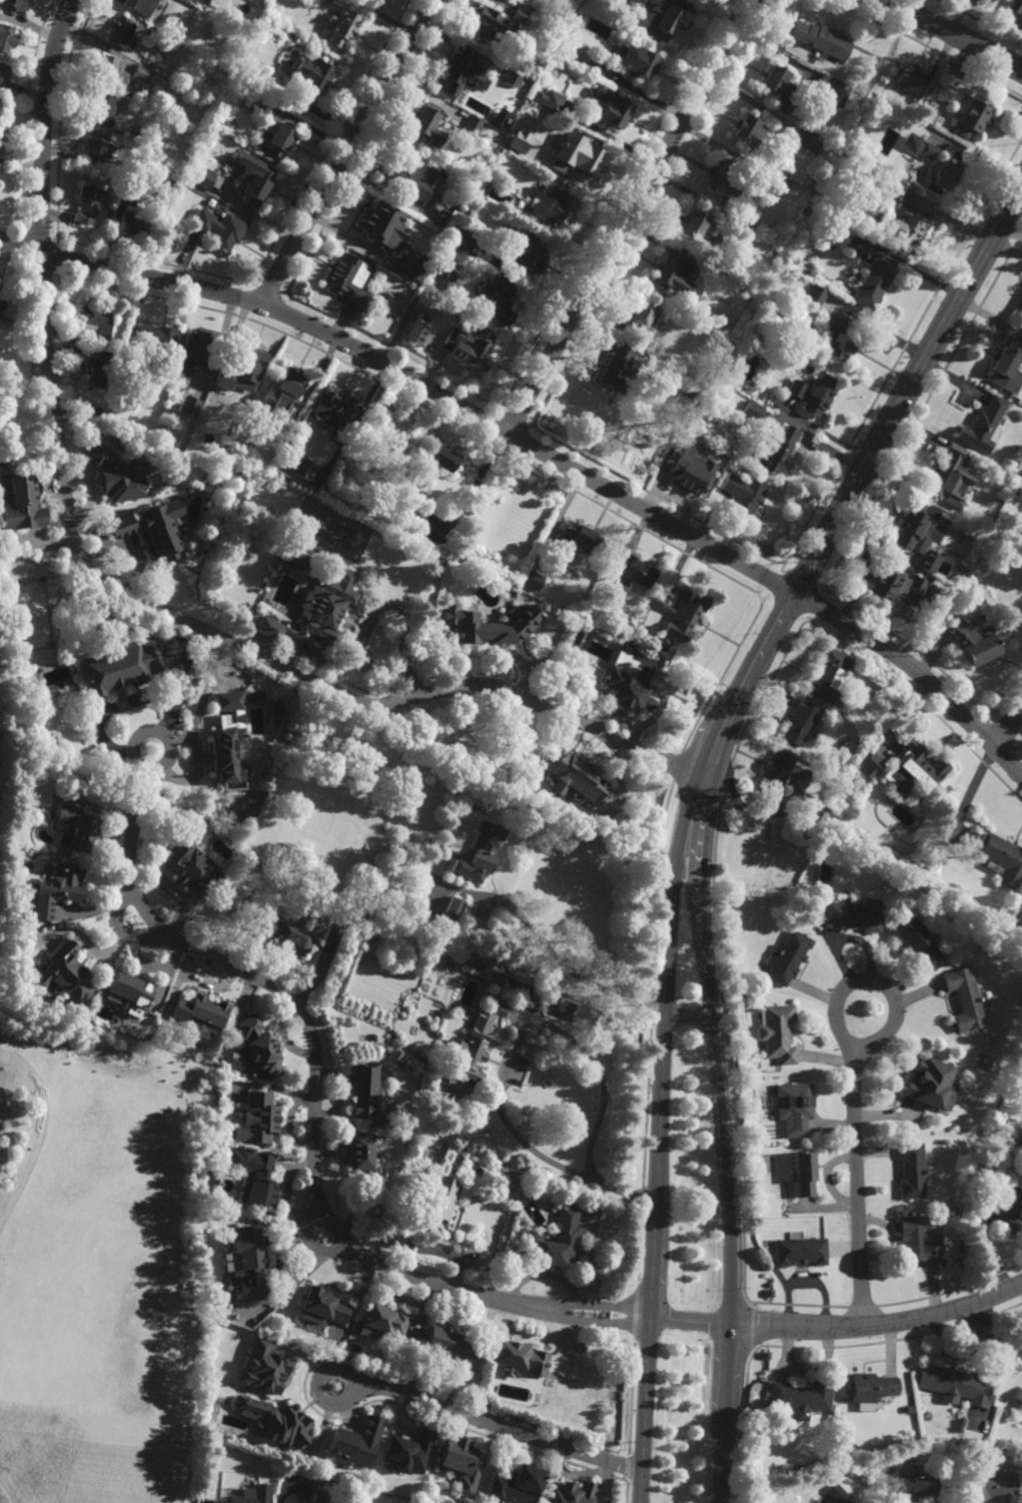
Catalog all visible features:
building: (16, 4)
building: (140, 5)
building: (1016, 6)
building: (521, 14)
building: (657, 20)
road: (979, 21)
building: (491, 22)
building: (342, 25)
building: (120, 30)
road: (952, 33)
building: (232, 34)
building: (5, 37)
building: (821, 38)
road: (923, 47)
building: (635, 59)
building: (145, 60)
building: (593, 62)
building: (110, 71)
building: (3, 72)
building: (140, 72)
building: (461, 73)
building: (512, 78)
building: (908, 78)
building: (308, 79)
building: (832, 87)
building: (129, 93)
building: (943, 93)
building: (548, 99)
building: (260, 103)
building: (103, 105)
building: (613, 111)
road: (27, 115)
road: (61, 118)
building: (972, 118)
building: (426, 120)
building: (474, 123)
building: (128, 129)
building: (745, 129)
building: (278, 137)
building: (805, 138)
road: (330, 141)
building: (910, 142)
building: (96, 144)
road: (367, 146)
building: (124, 150)
building: (523, 150)
road: (345, 151)
building: (927, 151)
building: (585, 158)
building: (945, 171)
building: (202, 178)
building: (409, 178)
building: (724, 179)
building: (773, 182)
building: (257, 187)
building: (185, 188)
building: (216, 189)
building: (898, 191)
building: (128, 197)
road: (42, 202)
road: (613, 203)
building: (88, 204)
building: (548, 209)
road: (649, 212)
road: (626, 216)
building: (443, 222)
road: (6, 224)
building: (130, 224)
building: (376, 225)
building: (695, 226)
building: (744, 227)
building: (904, 228)
road: (22, 229)
building: (219, 229)
road: (37, 235)
building: (462, 238)
road: (23, 248)
building: (521, 251)
road: (56, 258)
road: (153, 261)
road: (15, 263)
building: (410, 266)
building: (445, 268)
road: (43, 272)
building: (675, 273)
building: (345, 279)
building: (874, 282)
road: (267, 291)
road: (284, 294)
building: (816, 295)
building: (382, 297)
building: (494, 300)
road: (251, 303)
building: (2, 305)
road: (273, 310)
building: (398, 314)
building: (97, 319)
building: (641, 320)
building: (414, 333)
building: (156, 337)
building: (839, 338)
building: (86, 339)
building: (200, 345)
road: (903, 348)
road: (393, 350)
building: (472, 354)
building: (251, 362)
building: (117, 365)
building: (1008, 366)
building: (99, 368)
building: (614, 369)
building: (127, 375)
building: (224, 377)
road: (412, 379)
building: (288, 382)
road: (27, 385)
building: (814, 394)
building: (687, 396)
building: (341, 399)
building: (388, 402)
road: (421, 405)
building: (189, 406)
road: (922, 409)
road: (501, 410)
building: (753, 411)
road: (514, 422)
building: (285, 425)
road: (531, 427)
building: (984, 427)
road: (493, 428)
road: (516, 443)
road: (876, 447)
building: (776, 451)
building: (440, 454)
building: (302, 469)
building: (686, 472)
building: (117, 475)
building: (951, 476)
building: (313, 477)
building: (279, 482)
building: (743, 496)
road: (657, 497)
building: (21, 501)
building: (418, 511)
building: (430, 523)
building: (918, 528)
building: (151, 530)
park: (327, 532)
building: (579, 537)
building: (298, 557)
building: (635, 568)
road: (783, 569)
building: (532, 579)
building: (895, 581)
road: (801, 584)
road: (778, 585)
building: (936, 590)
road: (822, 591)
road: (766, 597)
road: (811, 604)
road: (787, 605)
building: (318, 610)
park: (33, 615)
building: (680, 616)
road: (804, 618)
building: (489, 623)
building: (580, 641)
building: (971, 641)
road: (910, 647)
building: (121, 666)
road: (918, 673)
road: (721, 675)
building: (828, 676)
building: (32, 683)
building: (629, 683)
road: (317, 684)
road: (1007, 694)
building: (255, 695)
road: (922, 700)
building: (276, 710)
road: (987, 720)
building: (800, 722)
road: (1010, 727)
road: (145, 731)
road: (978, 732)
road: (999, 737)
road: (967, 741)
building: (229, 743)
road: (1020, 746)
road: (1016, 750)
road: (1021, 752)
road: (1004, 757)
road: (676, 765)
building: (871, 765)
road: (994, 767)
building: (776, 769)
building: (912, 770)
building: (573, 776)
building: (809, 809)
building: (76, 829)
building: (481, 853)
building: (997, 855)
building: (192, 859)
building: (55, 891)
building: (1020, 911)
building: (452, 912)
building: (853, 915)
road: (118, 927)
building: (294, 934)
building: (24, 938)
building: (919, 942)
road: (713, 953)
building: (788, 958)
road: (568, 970)
building: (65, 973)
building: (497, 973)
road: (881, 985)
building: (131, 993)
building: (538, 996)
building: (964, 998)
building: (560, 1007)
building: (199, 1017)
road: (689, 1019)
road: (648, 1032)
building: (778, 1033)
building: (258, 1049)
building: (473, 1053)
road: (513, 1054)
road: (78, 1069)
road: (316, 1072)
building: (926, 1084)
building: (363, 1089)
road: (661, 1100)
road: (722, 1104)
building: (794, 1108)
park: (69, 1116)
building: (260, 1116)
building: (1019, 1141)
building: (363, 1156)
building: (910, 1170)
building: (802, 1172)
building: (254, 1175)
road: (858, 1189)
park: (76, 1191)
road: (284, 1199)
building: (438, 1202)
building: (1009, 1203)
building: (389, 1238)
building: (918, 1238)
building: (555, 1240)
road: (307, 1241)
building: (799, 1250)
building: (248, 1260)
road: (950, 1290)
building: (769, 1292)
building: (322, 1305)
road: (596, 1305)
road: (797, 1305)
road: (861, 1308)
road: (634, 1311)
building: (382, 1320)
road: (594, 1320)
road: (690, 1321)
road: (879, 1325)
road: (748, 1327)
road: (987, 1336)
building: (277, 1344)
building: (446, 1344)
building: (211, 1349)
building: (765, 1355)
building: (518, 1358)
building: (263, 1367)
road: (340, 1370)
building: (954, 1383)
building: (870, 1386)
road: (629, 1396)
building: (800, 1397)
building: (1019, 1405)
building: (276, 1420)
road: (735, 1420)
road: (498, 1424)
building: (355, 1443)
building: (407, 1452)
building: (460, 1462)
road: (625, 1466)
building: (516, 1484)
building: (993, 1488)
building: (915, 1490)
road: (623, 1491)
building: (569, 1492)
building: (250, 1495)
building: (837, 1495)
building: (301, 1500)

